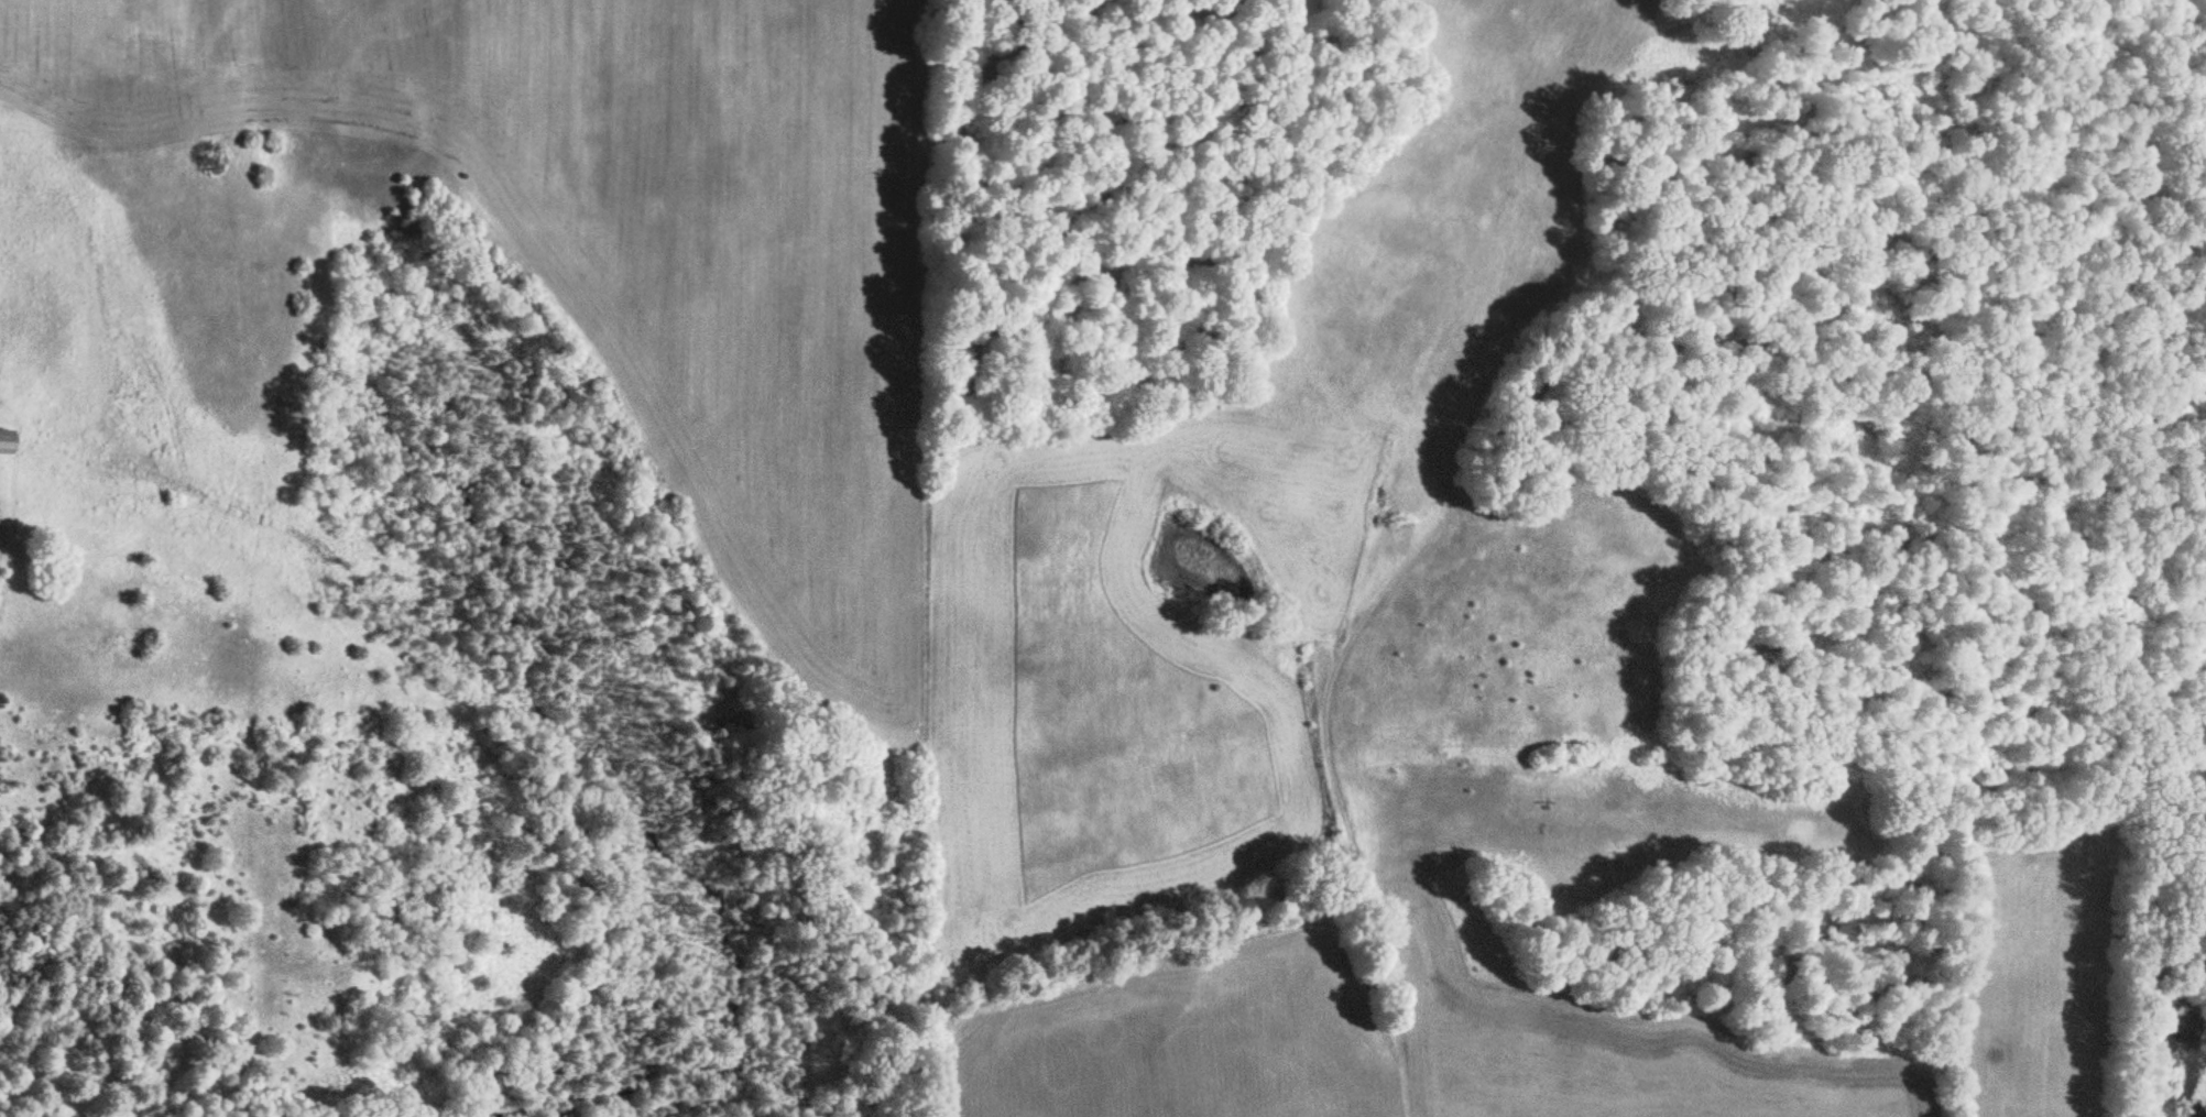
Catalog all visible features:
building: (3, 442)

